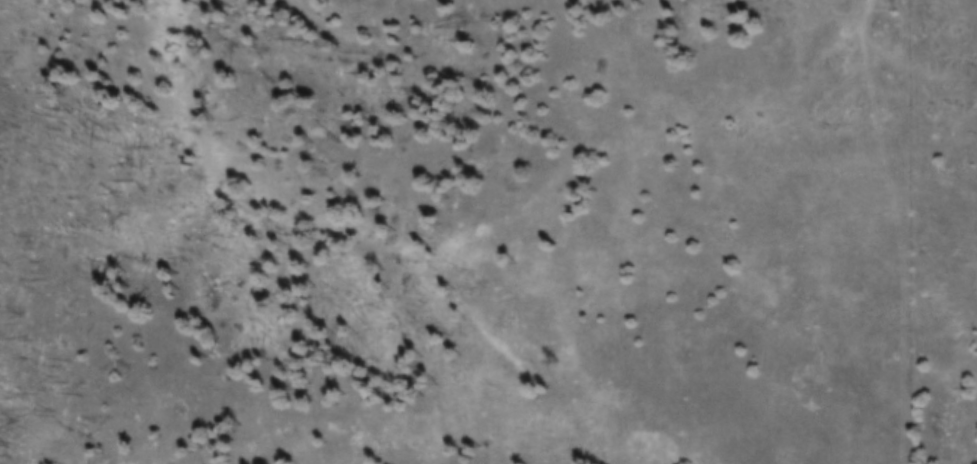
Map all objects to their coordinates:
road: (973, 278)

